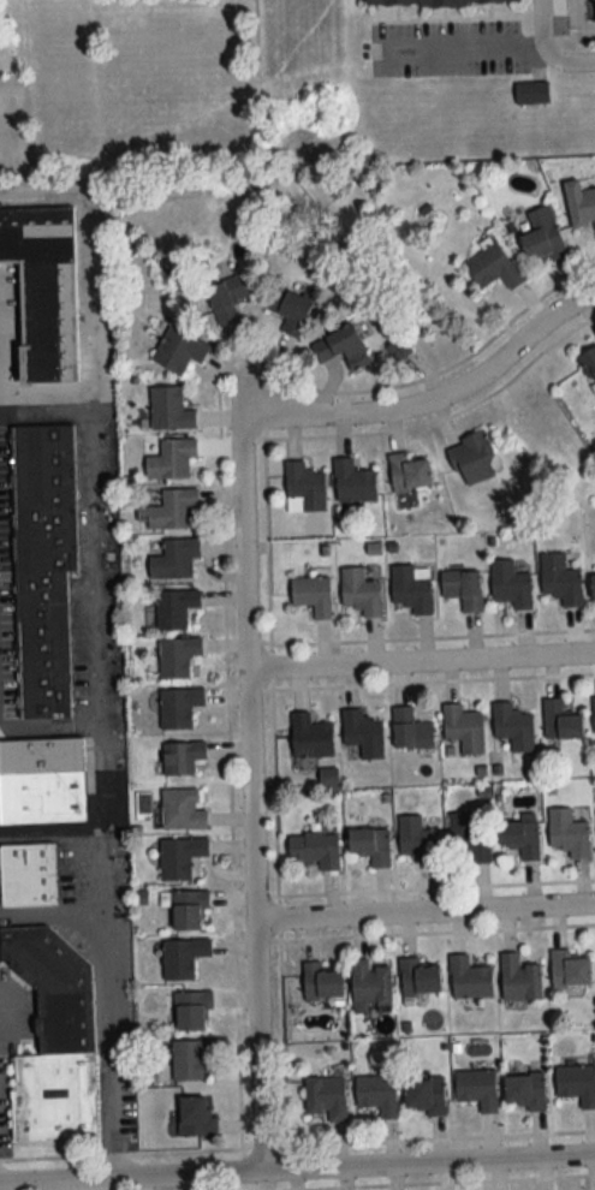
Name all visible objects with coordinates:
building: (438, 1)
road: (468, 46)
road: (549, 47)
building: (531, 91)
building: (581, 204)
building: (542, 236)
building: (494, 266)
building: (44, 287)
road: (94, 287)
building: (227, 297)
building: (291, 309)
building: (343, 346)
building: (178, 350)
building: (590, 369)
road: (444, 391)
building: (171, 409)
building: (172, 459)
building: (472, 459)
building: (410, 472)
building: (353, 481)
building: (304, 488)
building: (169, 510)
building: (174, 559)
building: (43, 566)
building: (560, 579)
building: (511, 585)
building: (412, 588)
building: (594, 588)
building: (463, 589)
building: (361, 591)
building: (314, 595)
building: (175, 607)
building: (177, 656)
road: (418, 660)
road: (106, 700)
building: (179, 707)
road: (50, 721)
building: (561, 721)
building: (513, 727)
building: (463, 728)
building: (411, 730)
building: (363, 733)
building: (311, 736)
building: (182, 757)
building: (42, 781)
road: (246, 787)
building: (182, 810)
road: (55, 828)
building: (569, 833)
building: (520, 838)
building: (468, 839)
building: (418, 840)
building: (370, 845)
building: (315, 849)
building: (182, 857)
building: (28, 875)
building: (188, 909)
road: (423, 910)
building: (183, 957)
building: (570, 970)
building: (418, 977)
building: (470, 978)
building: (519, 980)
building: (322, 982)
building: (370, 983)
building: (192, 1010)
building: (53, 1039)
road: (113, 1042)
building: (191, 1059)
building: (577, 1084)
building: (477, 1089)
building: (524, 1091)
building: (379, 1095)
building: (426, 1095)
building: (327, 1096)
building: (196, 1118)
road: (297, 1168)

